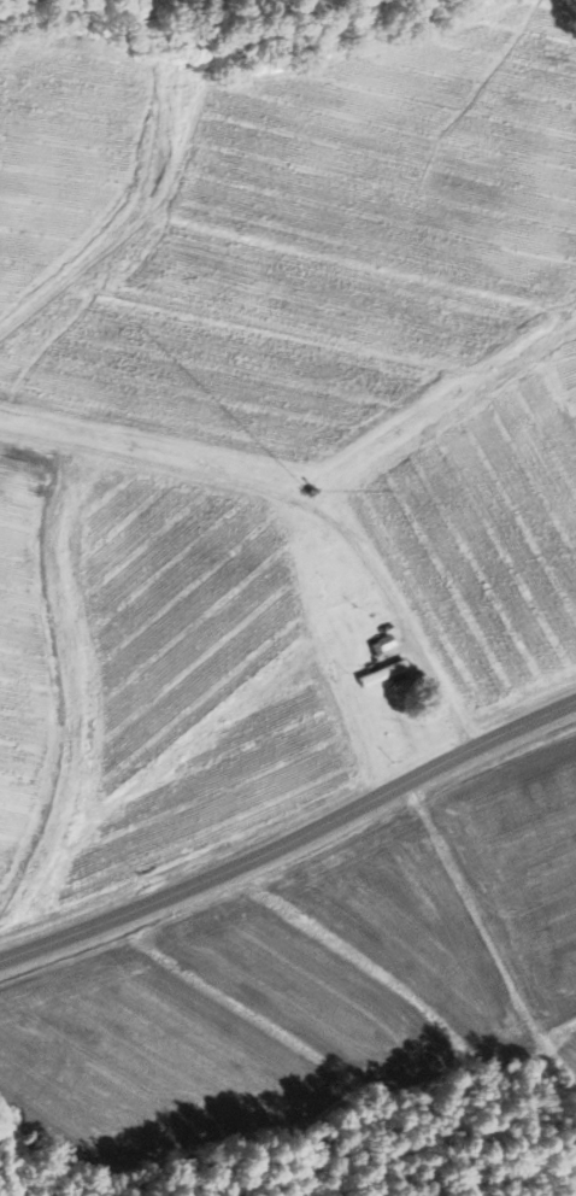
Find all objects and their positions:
building: (384, 644)
road: (441, 698)
road: (289, 839)

